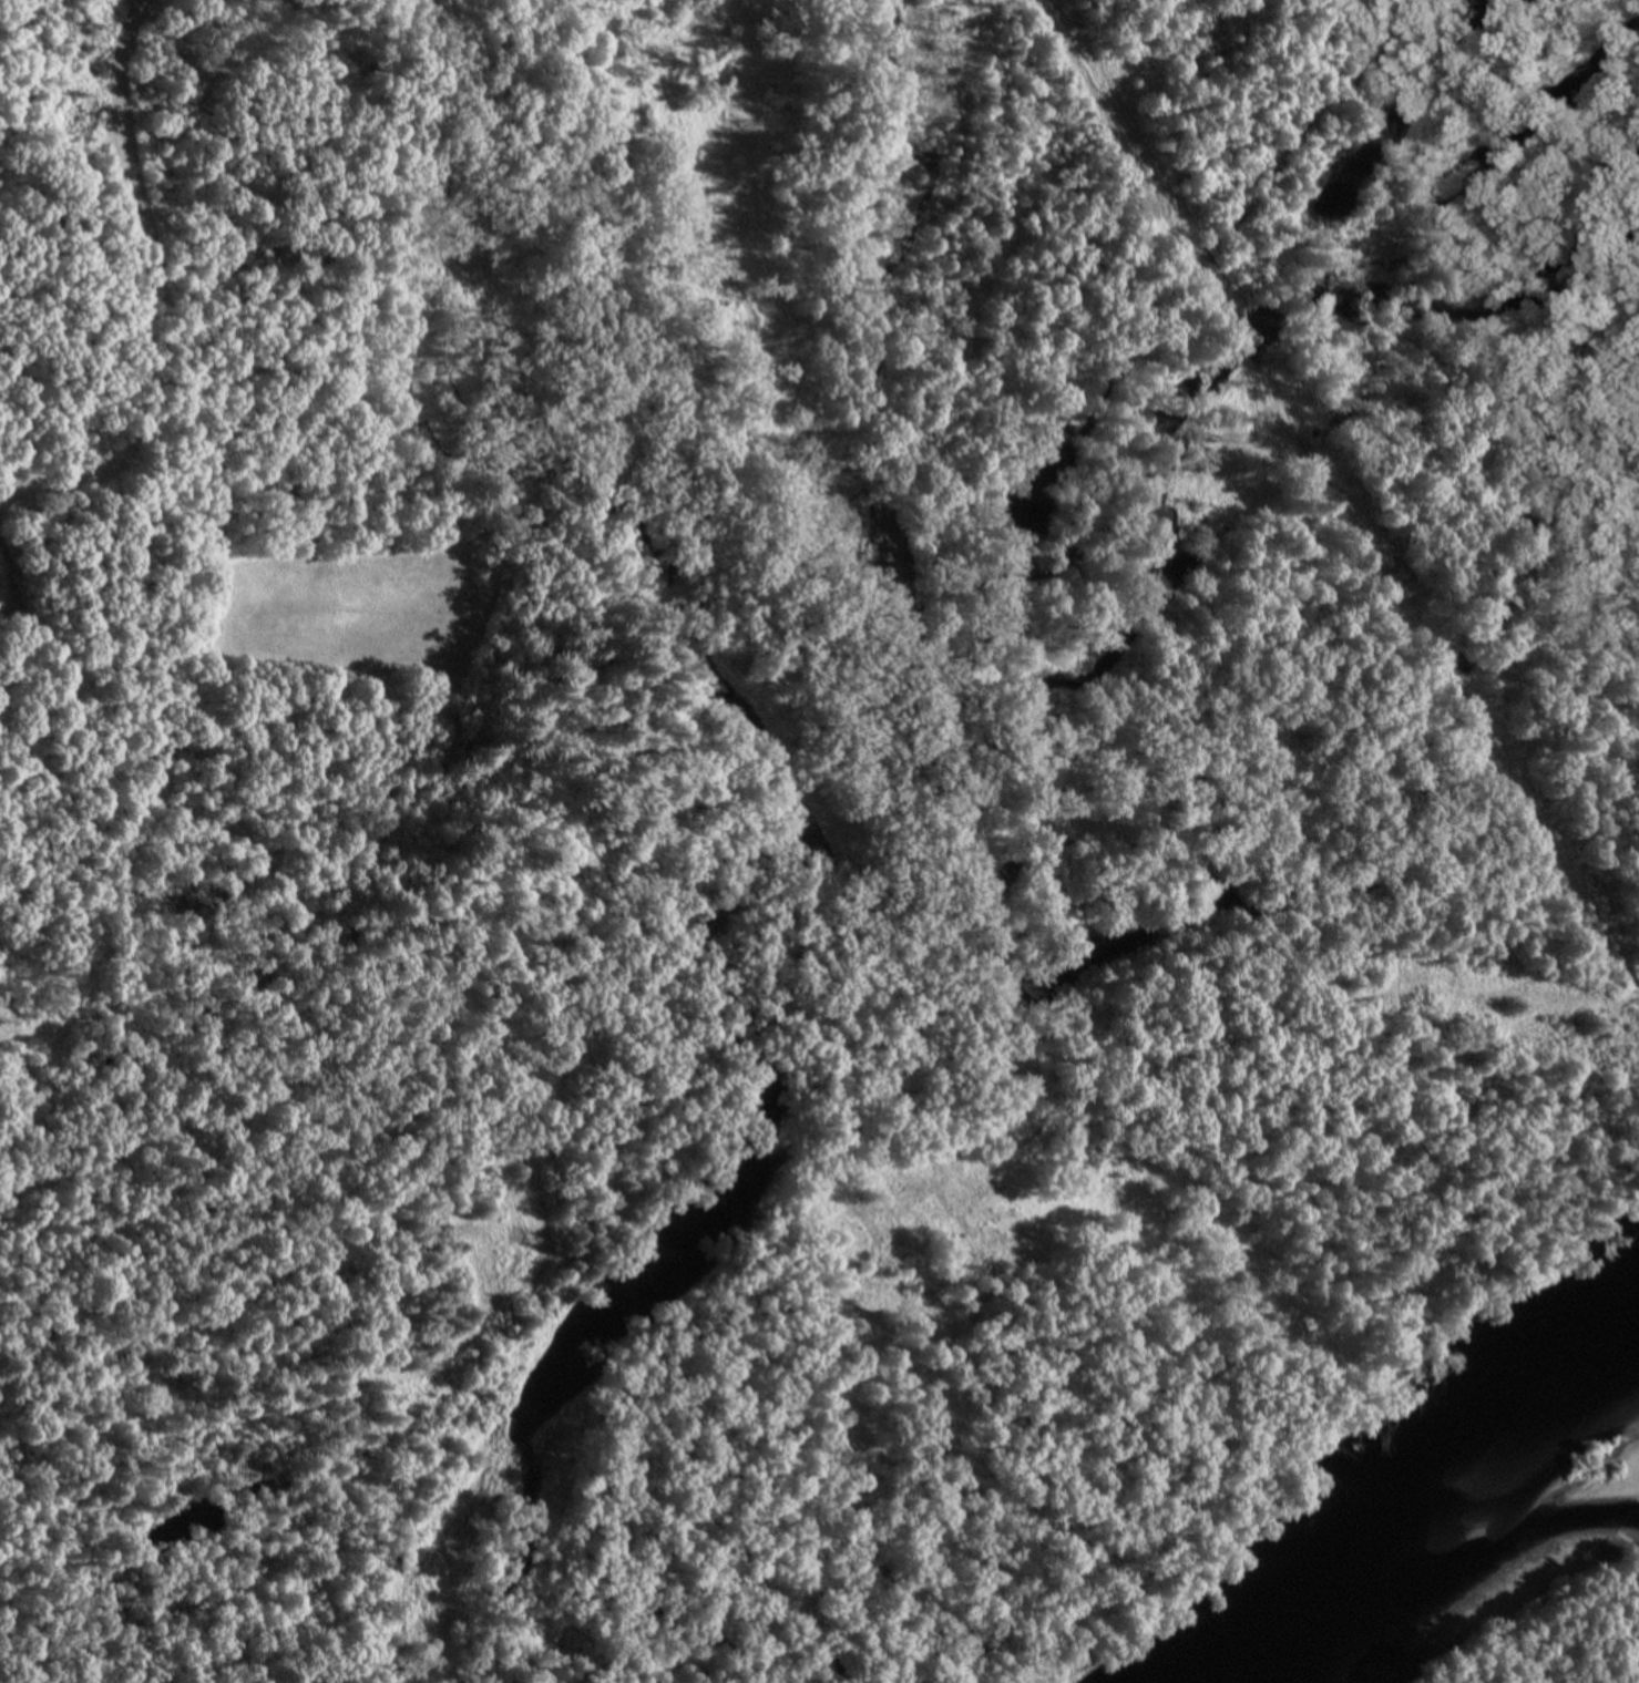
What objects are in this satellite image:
river: (1443, 1521)

